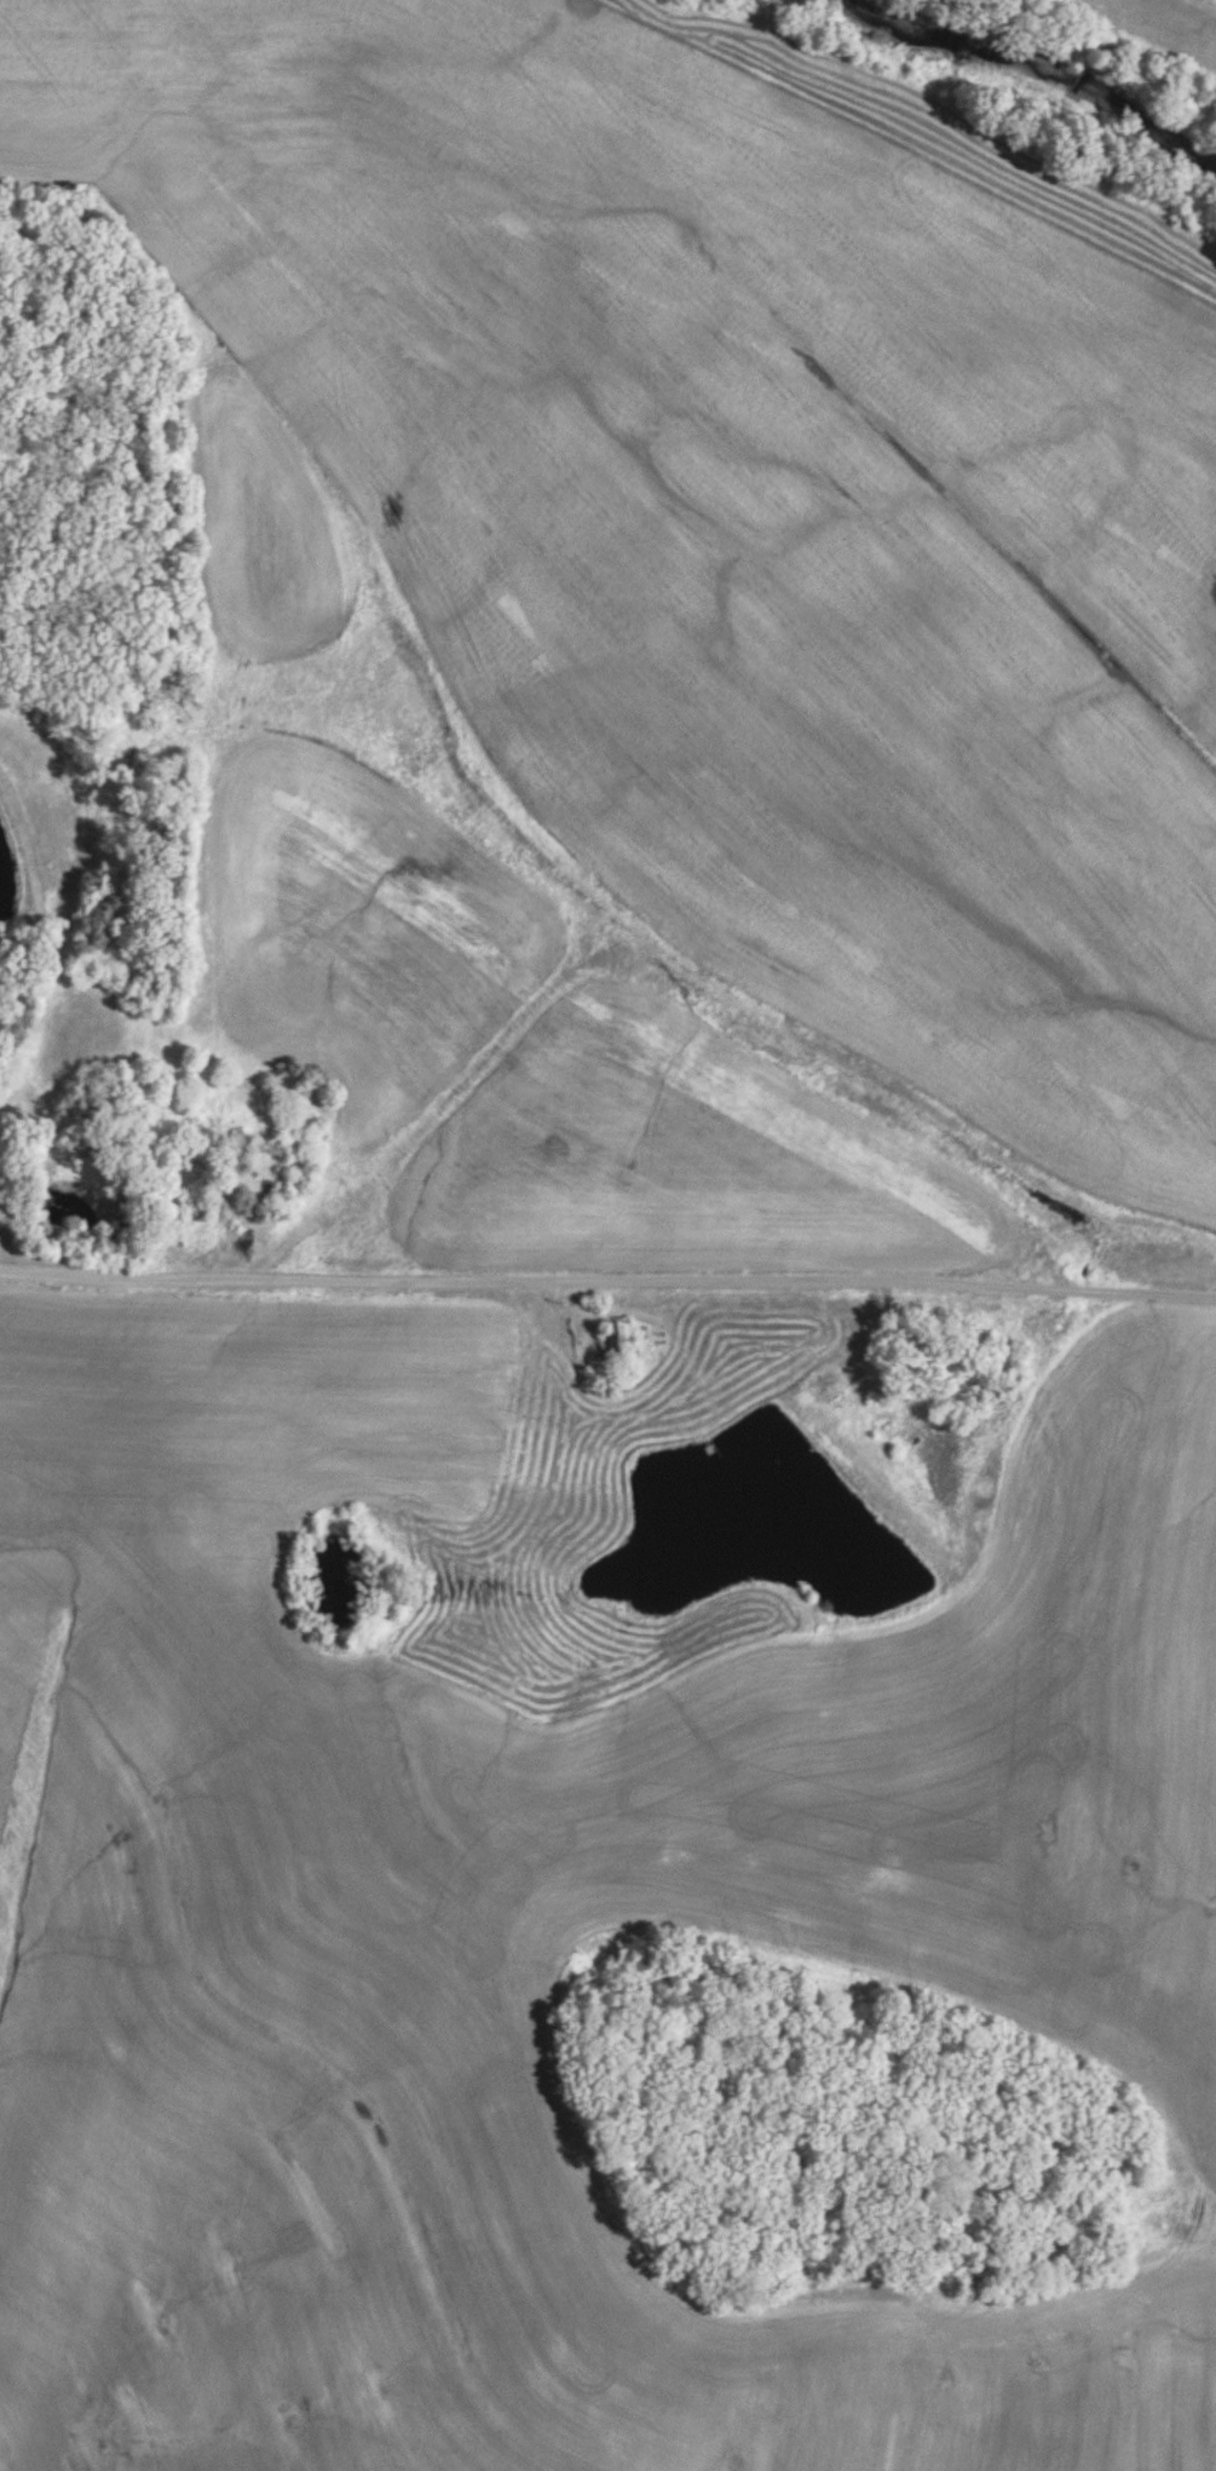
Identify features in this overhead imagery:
road: (607, 1280)

